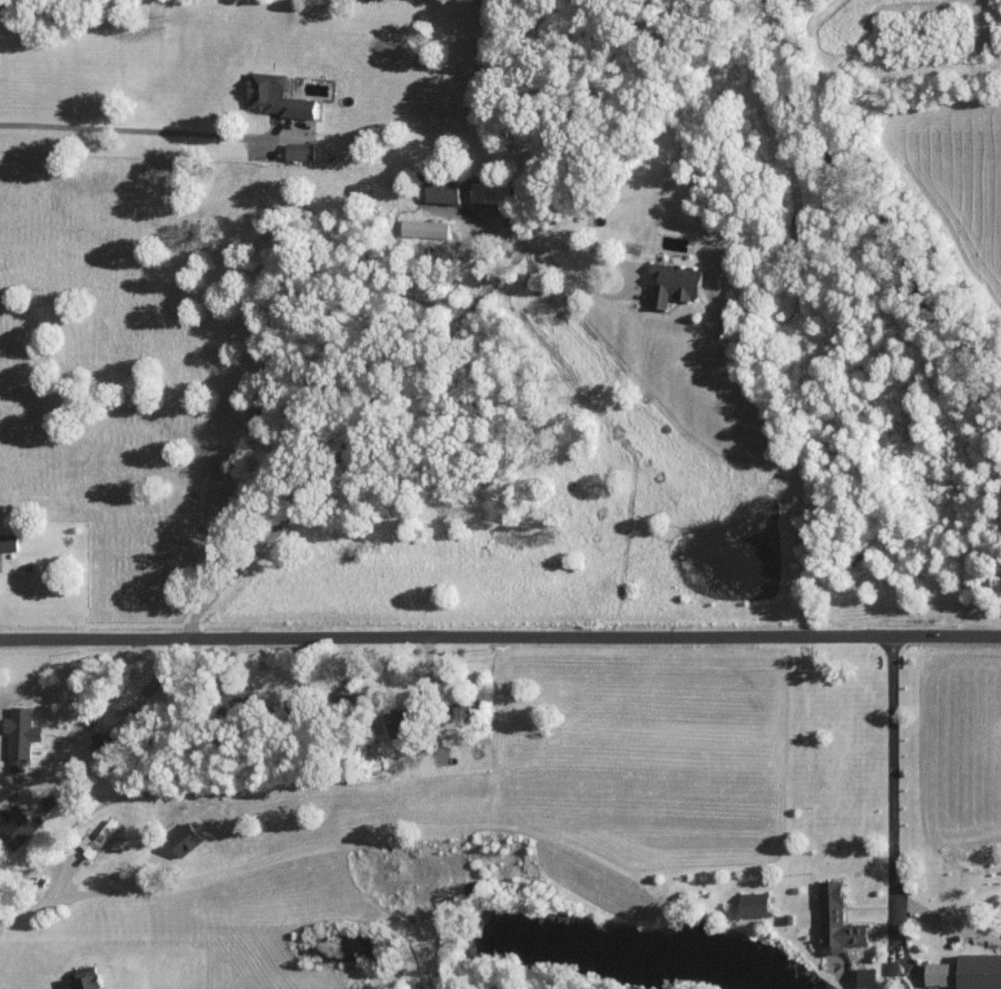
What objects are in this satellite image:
building: (276, 96)
road: (130, 131)
building: (301, 151)
building: (444, 190)
building: (492, 193)
building: (425, 228)
building: (676, 283)
building: (9, 542)
road: (500, 641)
road: (74, 723)
building: (22, 731)
building: (18, 828)
building: (99, 838)
building: (186, 839)
road: (514, 870)
road: (893, 872)
building: (756, 904)
building: (838, 921)
building: (967, 972)
building: (867, 977)
building: (87, 978)

